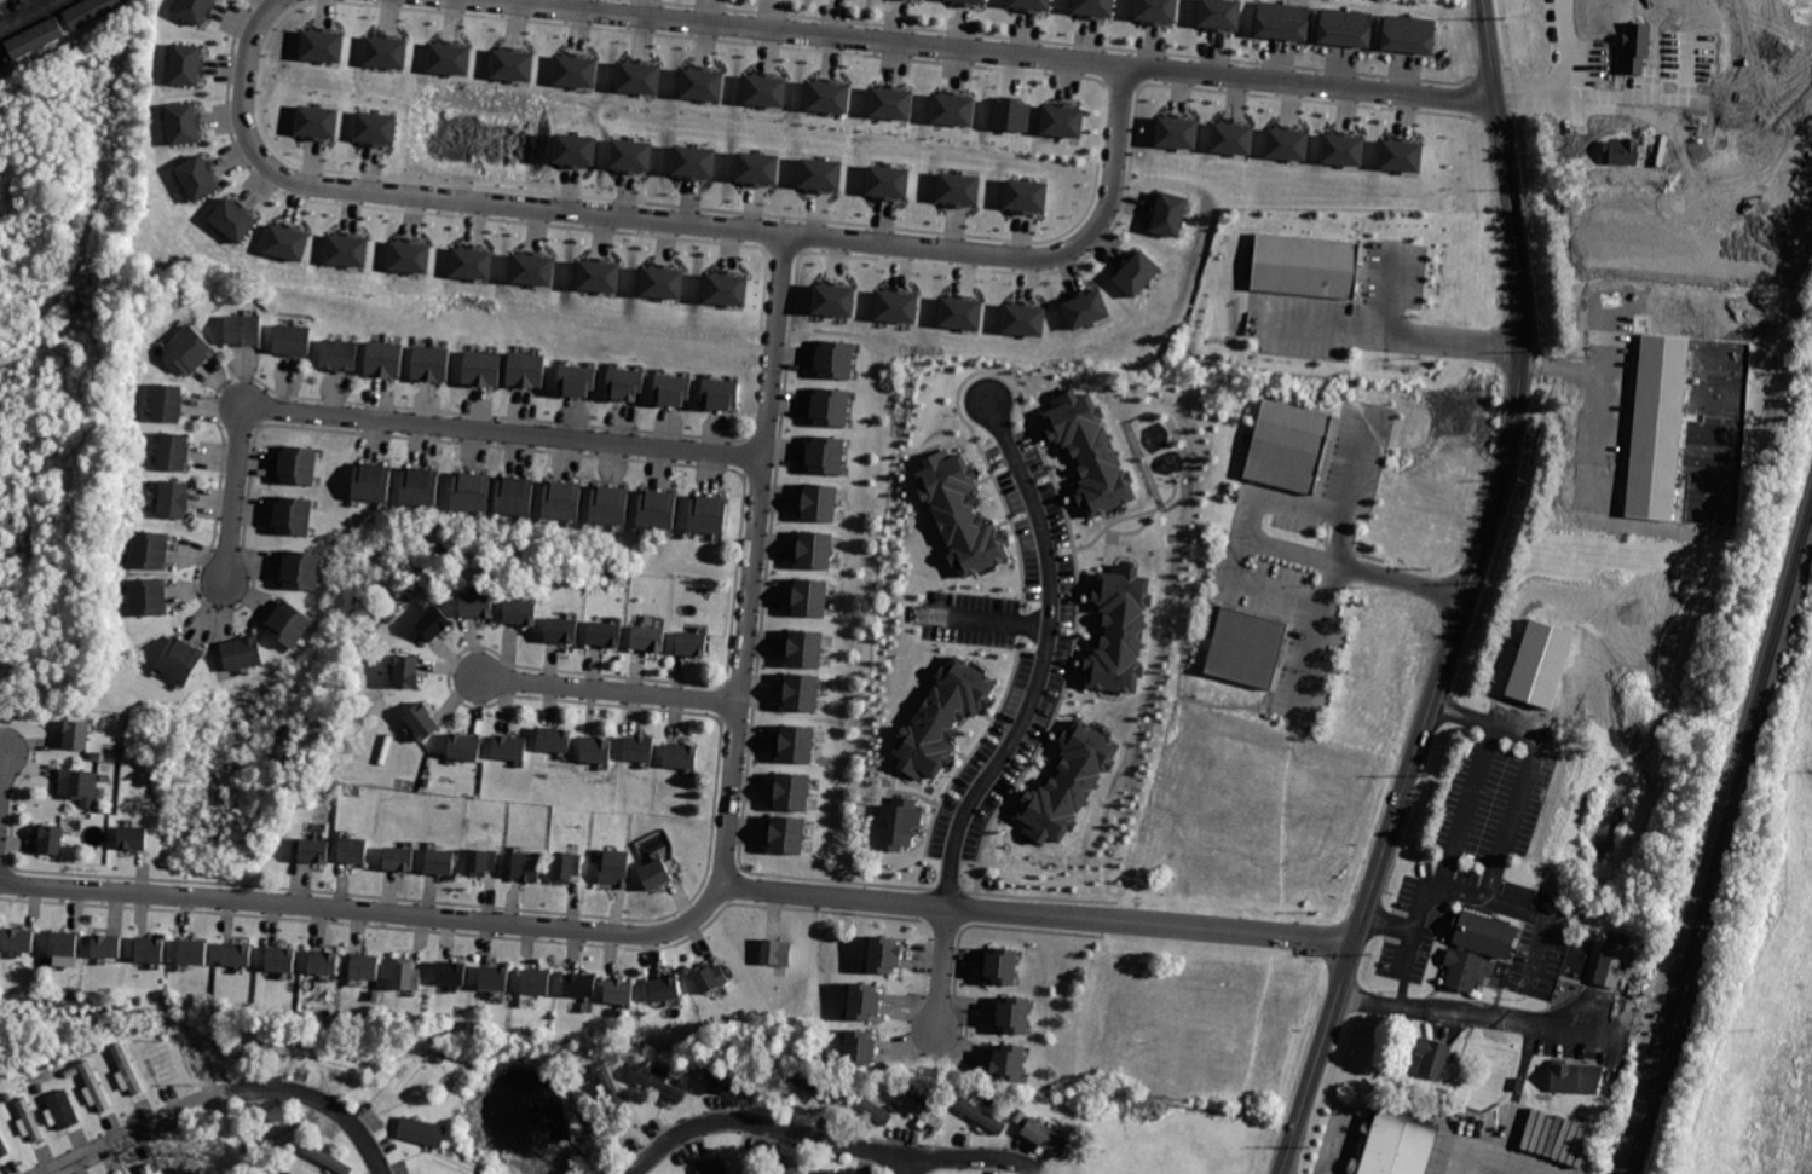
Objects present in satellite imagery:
building: (969, 1)
building: (1032, 5)
building: (1096, 7)
building: (91, 10)
building: (192, 10)
building: (1158, 10)
road: (29, 15)
building: (1223, 15)
building: (1282, 18)
building: (1346, 25)
road: (808, 34)
building: (1409, 34)
building: (35, 37)
building: (322, 45)
building: (1635, 47)
building: (386, 51)
building: (449, 57)
building: (512, 64)
building: (185, 65)
building: (575, 70)
building: (639, 76)
road: (1566, 81)
building: (702, 83)
road: (1310, 87)
building: (764, 89)
building: (827, 96)
building: (890, 103)
building: (953, 108)
building: (1009, 115)
building: (1064, 120)
building: (316, 121)
building: (1726, 122)
building: (183, 123)
building: (375, 127)
building: (1176, 132)
building: (1231, 137)
building: (1286, 143)
building: (1341, 148)
building: (575, 149)
building: (1621, 151)
building: (630, 155)
building: (1401, 155)
building: (693, 161)
building: (756, 167)
building: (820, 173)
building: (198, 177)
building: (887, 180)
building: (958, 187)
building: (1025, 195)
building: (1168, 213)
building: (232, 219)
road: (674, 220)
building: (285, 242)
building: (346, 248)
building: (409, 255)
building: (472, 262)
building: (532, 268)
building: (1309, 270)
building: (1137, 273)
building: (598, 274)
building: (662, 282)
building: (726, 288)
building: (833, 299)
building: (896, 305)
building: (1085, 308)
building: (960, 312)
building: (1023, 318)
road: (1398, 319)
road: (1602, 320)
building: (244, 330)
building: (295, 340)
building: (190, 349)
building: (341, 357)
road: (1597, 357)
building: (386, 359)
building: (837, 359)
building: (433, 363)
building: (483, 368)
building: (529, 369)
building: (579, 380)
building: (627, 383)
building: (674, 389)
building: (721, 394)
building: (167, 401)
building: (832, 406)
road: (416, 423)
building: (1657, 426)
building: (1291, 447)
building: (175, 450)
building: (1089, 451)
building: (829, 455)
building: (299, 464)
road: (1356, 465)
building: (374, 481)
building: (421, 485)
building: (473, 490)
building: (517, 496)
building: (174, 499)
building: (564, 501)
building: (820, 502)
building: (611, 503)
road: (1300, 507)
building: (658, 508)
building: (959, 511)
building: (710, 513)
building: (295, 516)
road: (1260, 542)
building: (150, 549)
building: (815, 549)
building: (302, 569)
building: (149, 596)
building: (809, 597)
road: (1462, 597)
building: (479, 605)
road: (992, 609)
building: (521, 612)
building: (290, 623)
building: (433, 623)
building: (562, 629)
building: (1119, 629)
building: (606, 634)
building: (648, 637)
building: (693, 643)
building: (806, 648)
building: (1247, 649)
building: (243, 650)
road: (1045, 654)
building: (179, 660)
road: (1308, 661)
building: (409, 672)
road: (607, 690)
building: (802, 692)
building: (942, 717)
building: (422, 719)
road: (1514, 730)
building: (77, 734)
building: (554, 739)
building: (797, 742)
building: (510, 745)
building: (596, 746)
building: (464, 747)
building: (639, 748)
building: (681, 753)
road: (1, 770)
building: (1068, 782)
building: (80, 785)
building: (792, 791)
road: (1465, 797)
building: (899, 822)
building: (789, 835)
building: (133, 838)
building: (51, 840)
railway: (1719, 842)
road: (1500, 843)
building: (356, 849)
building: (316, 850)
building: (400, 858)
building: (442, 861)
building: (483, 861)
building: (567, 864)
building: (529, 866)
building: (614, 867)
building: (656, 873)
road: (1035, 915)
road: (692, 918)
building: (22, 939)
road: (1410, 939)
building: (65, 944)
building: (108, 945)
building: (152, 948)
building: (1478, 948)
building: (195, 952)
building: (238, 952)
building: (779, 953)
building: (885, 953)
building: (283, 956)
building: (324, 962)
building: (1610, 962)
building: (367, 966)
building: (1000, 967)
road: (941, 970)
building: (452, 972)
building: (406, 975)
building: (712, 976)
building: (495, 977)
building: (536, 982)
building: (582, 984)
building: (665, 989)
building: (618, 990)
building: (867, 1001)
road: (1465, 1012)
building: (1015, 1016)
building: (860, 1047)
building: (1435, 1054)
building: (1009, 1060)
building: (333, 1064)
building: (126, 1069)
building: (416, 1069)
building: (1579, 1077)
building: (659, 1081)
building: (731, 1085)
building: (96, 1086)
building: (612, 1089)
building: (804, 1094)
road: (223, 1095)
building: (866, 1103)
building: (64, 1109)
building: (923, 1111)
building: (977, 1112)
building: (31, 1118)
building: (421, 1130)
building: (269, 1133)
building: (1044, 1135)
road: (829, 1141)
building: (1393, 1146)
building: (5, 1147)
building: (327, 1158)
building: (716, 1166)
road: (904, 1166)
road: (1505, 1167)
building: (149, 1169)
building: (832, 1170)
building: (755, 1172)

